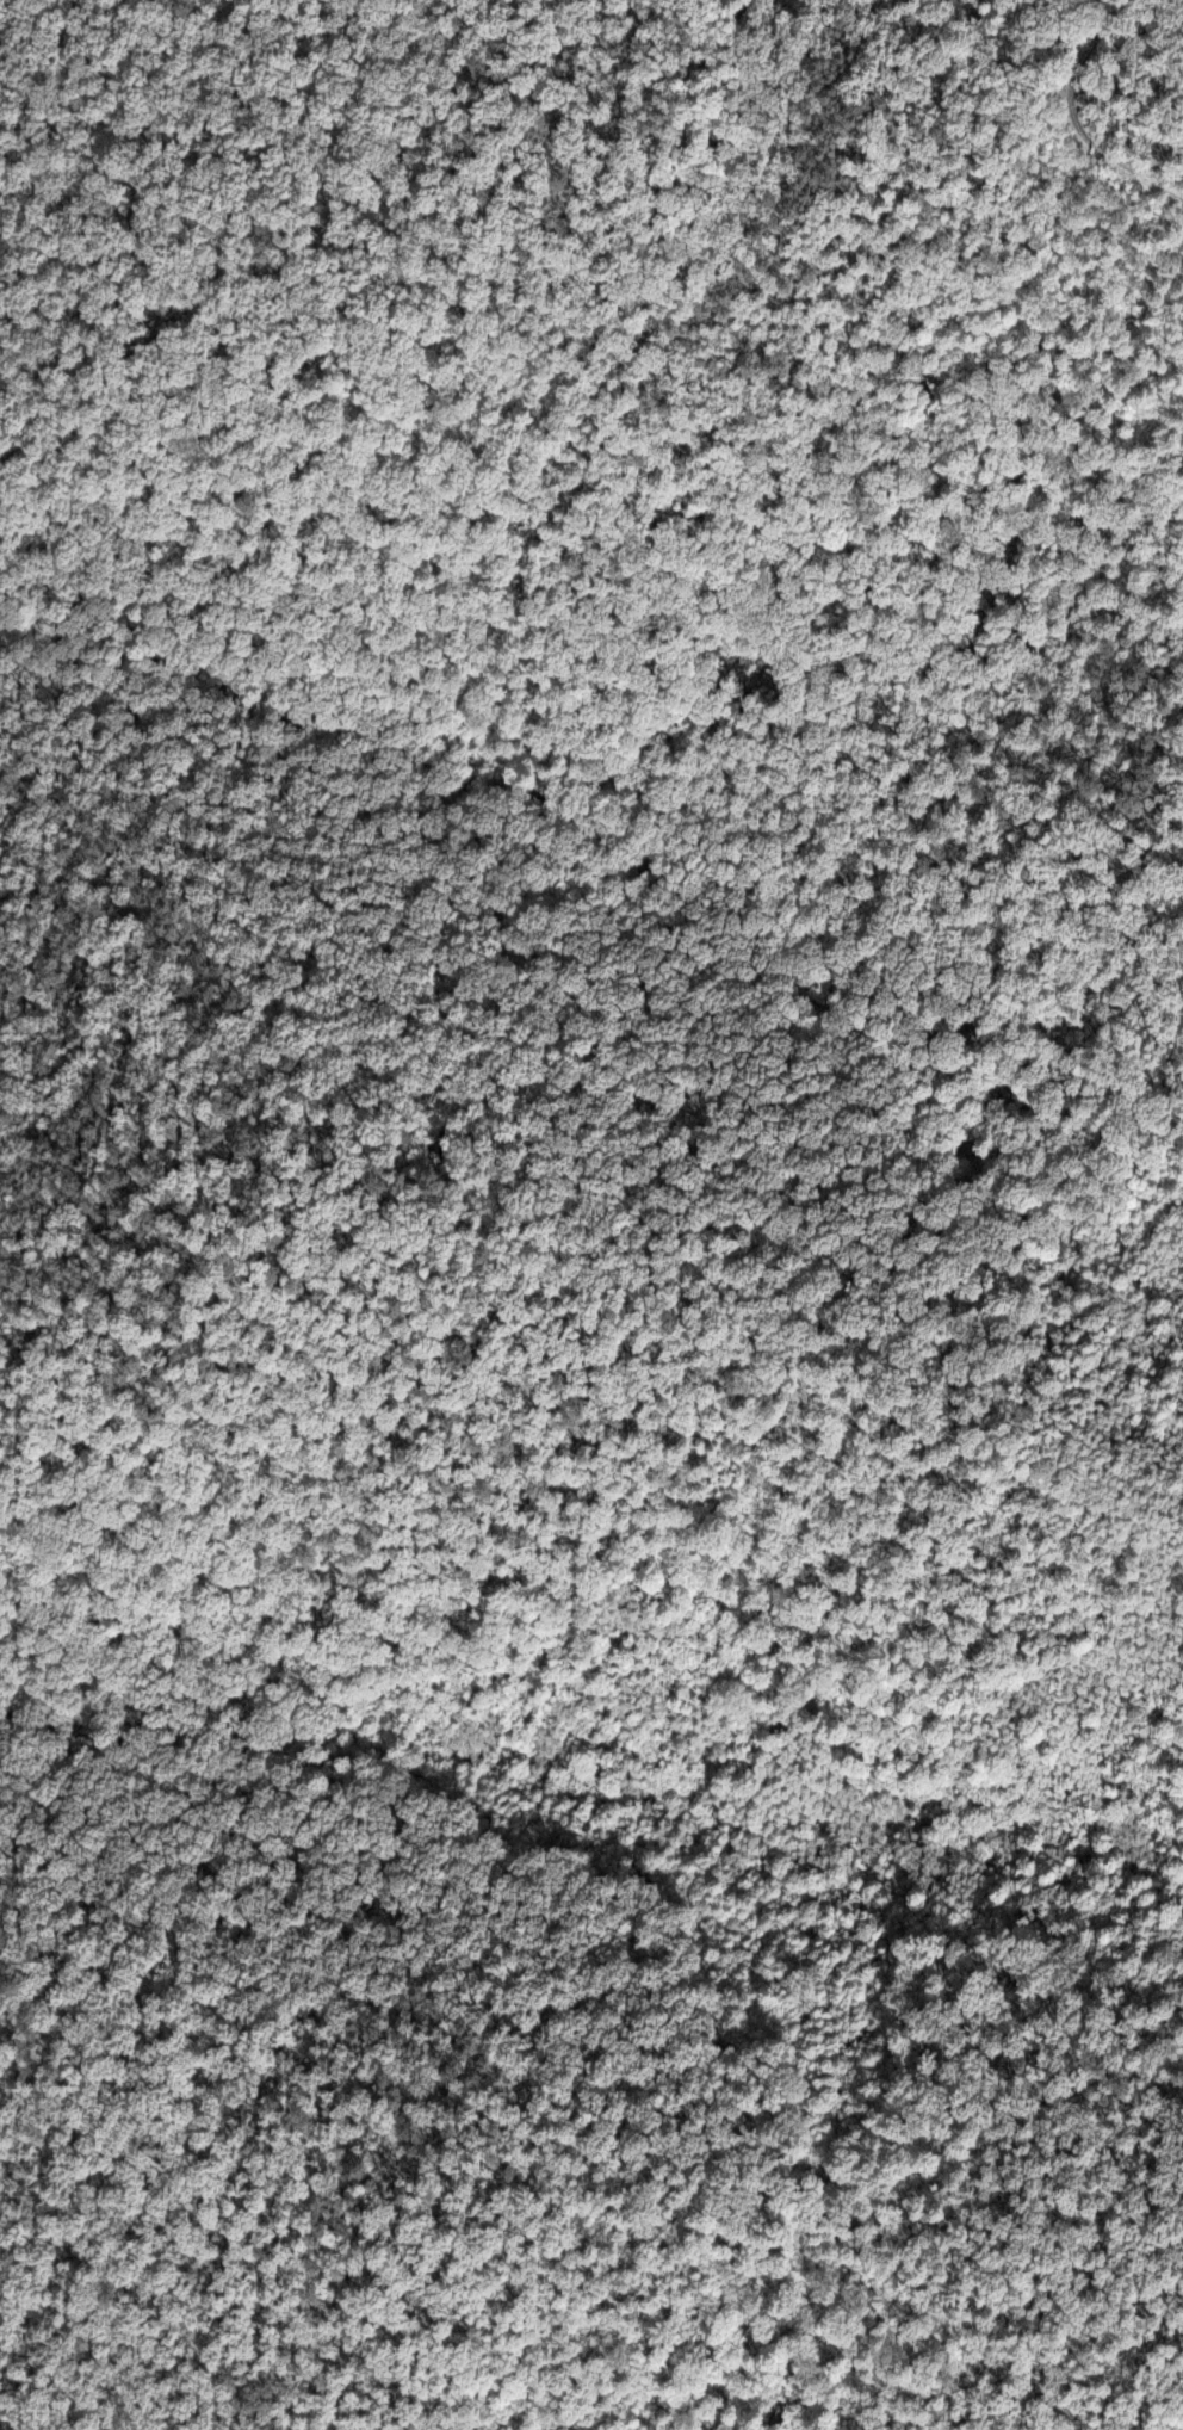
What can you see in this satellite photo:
road: (1070, 118)
road: (959, 2162)

